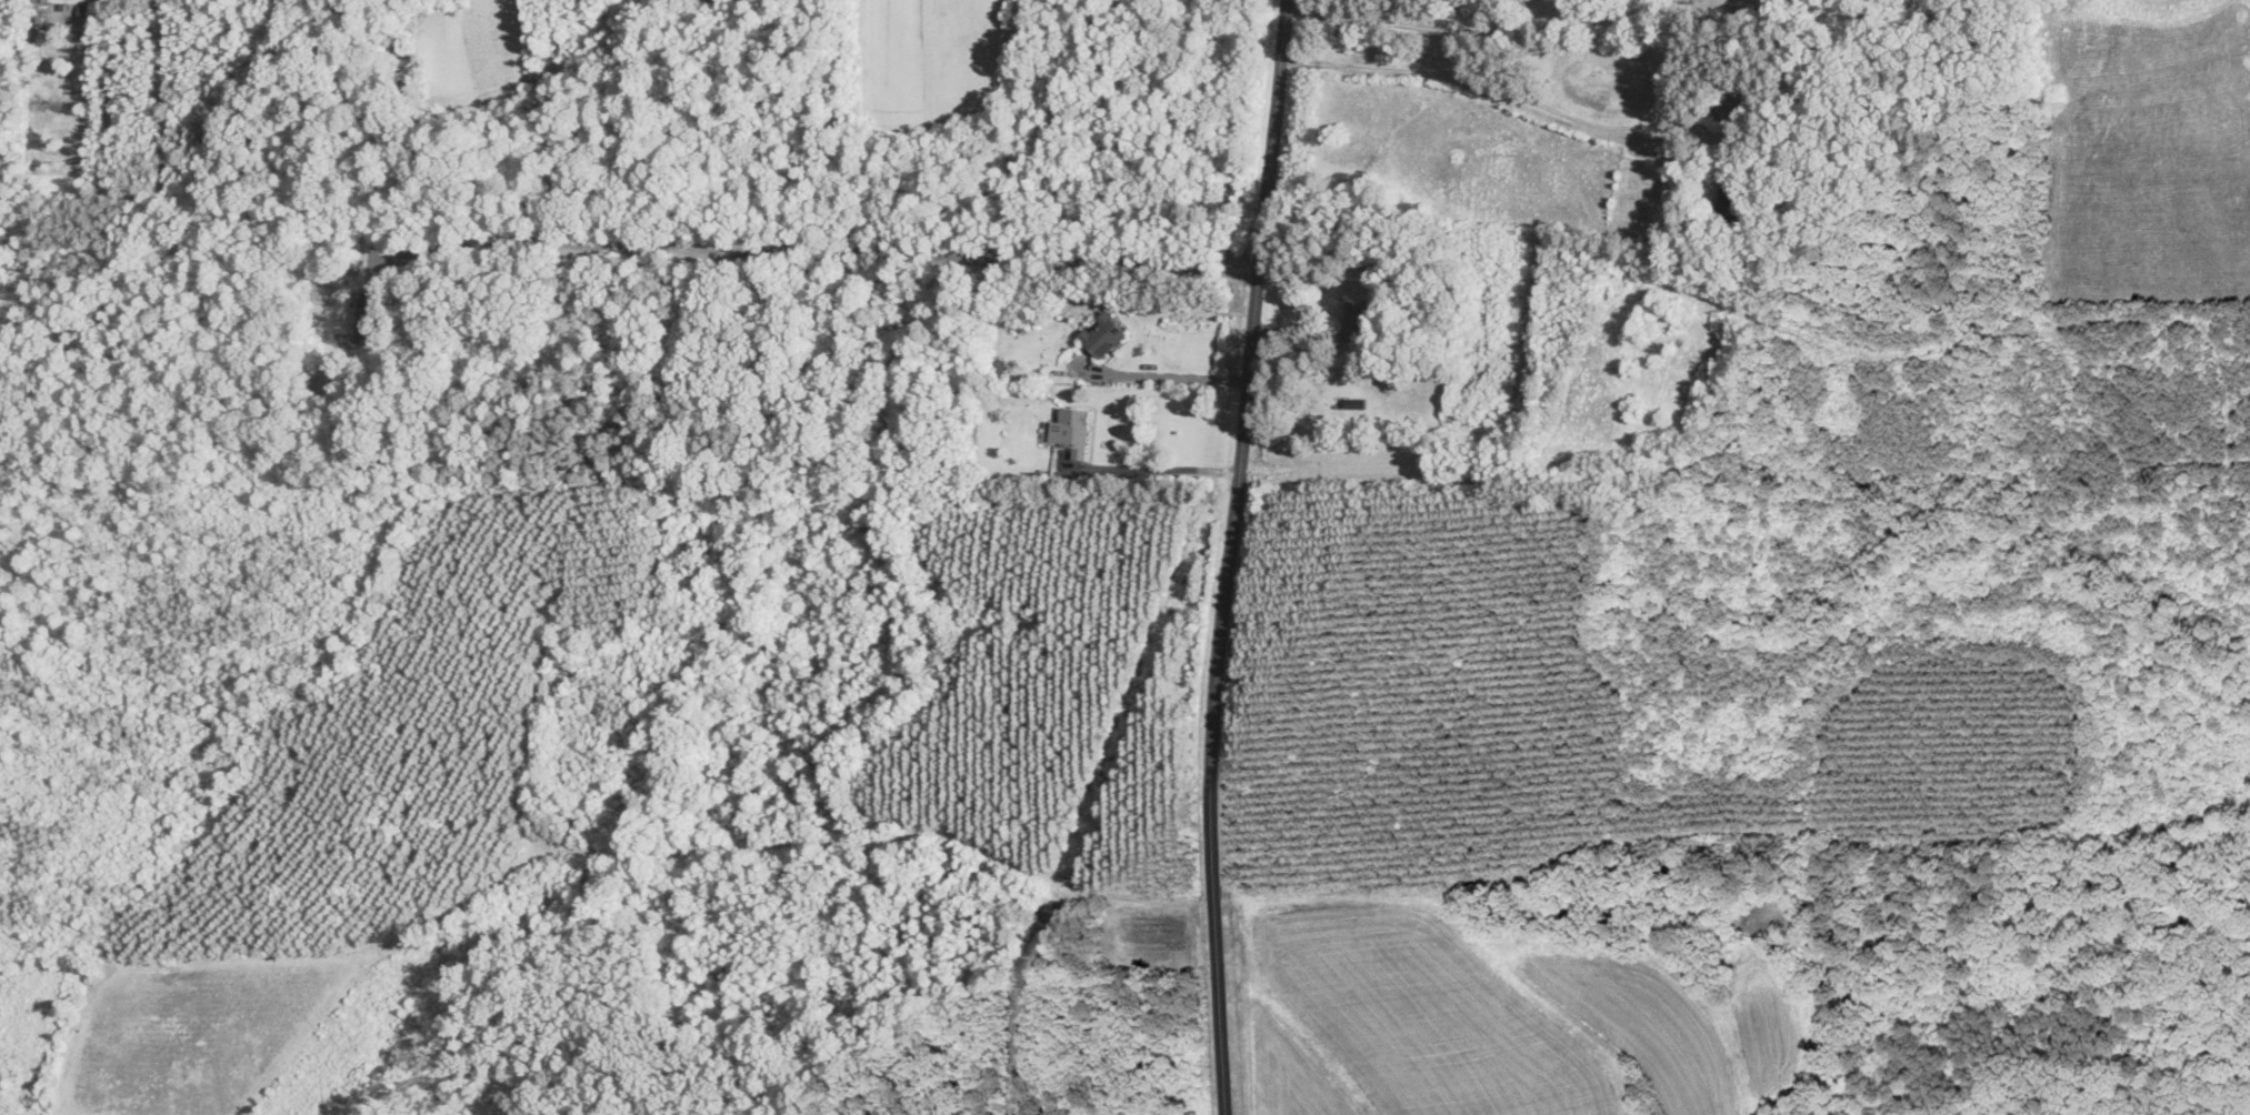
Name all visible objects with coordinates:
road: (1737, 3)
road: (1467, 30)
road: (1278, 87)
building: (1737, 91)
road: (1504, 92)
building: (1721, 112)
building: (1730, 204)
road: (817, 251)
building: (370, 315)
building: (1357, 323)
building: (1021, 327)
building: (1107, 335)
road: (1158, 376)
building: (1076, 432)
road: (1154, 465)
road: (1219, 644)

